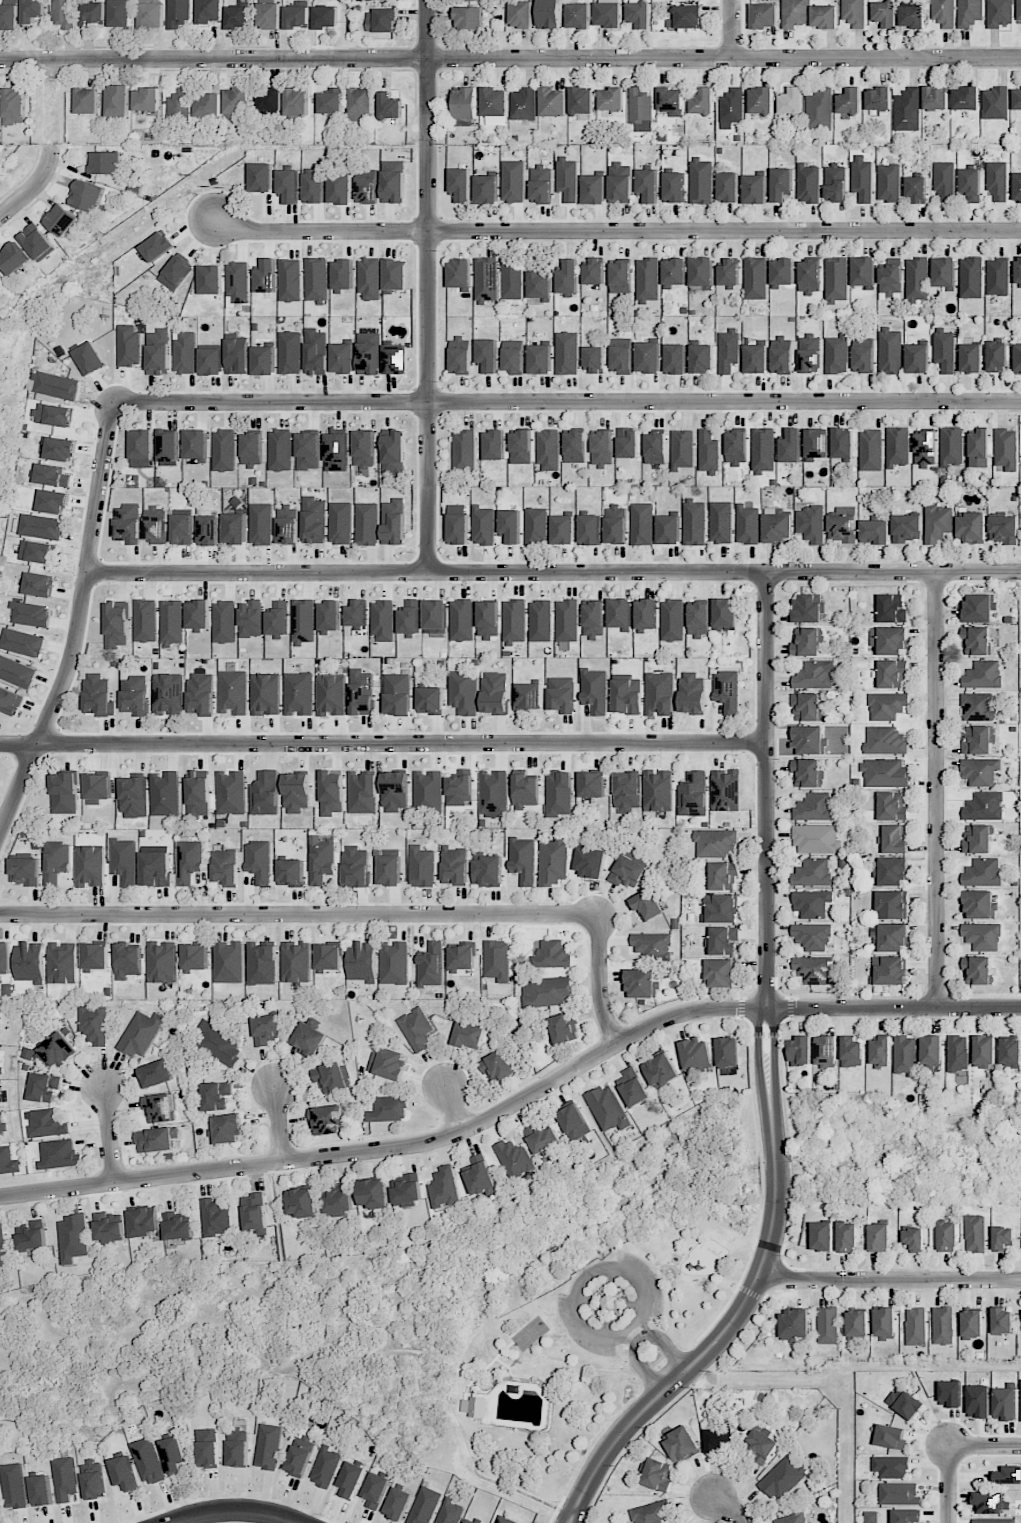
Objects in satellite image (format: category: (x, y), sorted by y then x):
building: (371, 0)
building: (909, 2)
building: (1018, 9)
building: (31, 10)
building: (209, 11)
building: (969, 12)
building: (92, 13)
building: (120, 13)
building: (178, 13)
building: (607, 13)
building: (794, 13)
building: (854, 13)
building: (884, 13)
building: (943, 13)
building: (999, 13)
building: (63, 14)
building: (151, 14)
building: (520, 14)
building: (549, 14)
building: (638, 14)
building: (238, 15)
building: (8, 16)
building: (269, 16)
building: (577, 16)
building: (688, 16)
building: (764, 16)
building: (296, 17)
building: (325, 17)
building: (824, 17)
building: (911, 17)
building: (469, 18)
building: (381, 20)
road: (733, 29)
road: (510, 57)
building: (935, 98)
building: (965, 98)
building: (146, 99)
building: (269, 99)
building: (611, 99)
building: (878, 99)
building: (1017, 99)
building: (760, 100)
building: (86, 101)
building: (117, 101)
building: (331, 101)
building: (361, 101)
building: (670, 101)
building: (702, 101)
building: (790, 101)
building: (848, 101)
building: (237, 102)
building: (296, 102)
building: (552, 102)
building: (580, 102)
building: (994, 103)
building: (178, 104)
building: (523, 104)
building: (207, 105)
building: (13, 106)
building: (389, 106)
building: (494, 106)
building: (465, 107)
building: (732, 107)
building: (640, 109)
building: (818, 109)
building: (907, 110)
building: (105, 163)
building: (261, 177)
building: (862, 178)
building: (567, 179)
building: (997, 180)
building: (513, 181)
building: (701, 181)
building: (944, 181)
building: (393, 182)
building: (835, 182)
building: (620, 183)
building: (808, 183)
building: (889, 183)
road: (32, 184)
building: (460, 184)
building: (781, 184)
building: (970, 184)
building: (541, 185)
building: (648, 185)
building: (288, 186)
building: (367, 186)
building: (674, 187)
building: (728, 187)
building: (1017, 187)
building: (314, 188)
building: (340, 189)
building: (486, 189)
building: (593, 189)
building: (754, 189)
building: (916, 189)
building: (87, 196)
building: (61, 220)
road: (617, 231)
building: (36, 242)
building: (157, 246)
building: (13, 258)
building: (1018, 270)
building: (702, 271)
building: (782, 271)
building: (863, 271)
building: (176, 272)
building: (594, 272)
building: (674, 272)
building: (944, 272)
building: (459, 273)
building: (729, 273)
building: (342, 274)
building: (395, 274)
building: (265, 276)
building: (0, 277)
building: (567, 277)
building: (621, 277)
building: (809, 277)
building: (891, 277)
building: (971, 277)
building: (998, 277)
building: (755, 278)
building: (210, 279)
building: (369, 279)
building: (647, 279)
building: (836, 279)
building: (917, 279)
building: (290, 280)
building: (316, 280)
building: (486, 280)
building: (511, 280)
building: (238, 282)
building: (540, 285)
road: (428, 286)
building: (128, 345)
building: (728, 350)
building: (944, 350)
building: (890, 351)
building: (158, 352)
building: (185, 352)
building: (290, 352)
building: (316, 352)
building: (369, 353)
building: (567, 353)
building: (809, 353)
building: (836, 354)
building: (863, 354)
building: (487, 355)
building: (621, 355)
building: (782, 355)
building: (237, 356)
building: (460, 356)
building: (513, 357)
building: (648, 357)
building: (997, 357)
building: (90, 358)
building: (343, 358)
building: (702, 358)
building: (971, 358)
building: (1018, 358)
building: (264, 359)
building: (395, 359)
building: (540, 359)
building: (594, 359)
building: (675, 359)
building: (755, 359)
building: (917, 359)
building: (211, 361)
building: (56, 385)
road: (567, 403)
building: (54, 415)
building: (627, 443)
building: (817, 443)
building: (843, 443)
building: (197, 444)
building: (493, 445)
building: (951, 445)
building: (169, 446)
building: (791, 446)
building: (520, 447)
building: (575, 447)
building: (655, 447)
building: (736, 447)
building: (898, 447)
building: (59, 448)
building: (141, 448)
building: (602, 448)
building: (925, 448)
building: (979, 448)
building: (252, 449)
building: (364, 449)
building: (682, 449)
building: (1006, 449)
building: (224, 450)
building: (280, 450)
building: (336, 450)
building: (464, 450)
building: (548, 450)
building: (763, 450)
building: (871, 450)
building: (308, 451)
building: (393, 451)
building: (708, 452)
building: (52, 476)
building: (53, 502)
building: (314, 520)
building: (394, 522)
building: (694, 522)
building: (721, 522)
building: (340, 523)
building: (937, 523)
building: (128, 524)
building: (261, 524)
building: (366, 524)
building: (458, 524)
building: (615, 524)
building: (642, 524)
building: (747, 524)
building: (810, 524)
building: (155, 525)
building: (288, 525)
building: (483, 525)
building: (842, 525)
building: (41, 526)
building: (510, 526)
building: (536, 526)
building: (777, 527)
building: (235, 528)
building: (906, 528)
building: (970, 528)
building: (562, 529)
building: (668, 529)
building: (1003, 529)
building: (209, 530)
building: (589, 530)
building: (874, 532)
building: (37, 552)
road: (555, 573)
building: (39, 584)
building: (891, 608)
building: (978, 608)
building: (807, 609)
building: (356, 613)
building: (31, 614)
building: (198, 614)
building: (620, 614)
building: (646, 614)
building: (725, 614)
building: (329, 615)
building: (436, 615)
building: (409, 617)
building: (278, 618)
building: (304, 618)
building: (251, 619)
building: (593, 619)
building: (145, 620)
building: (461, 620)
building: (488, 620)
building: (567, 620)
building: (672, 620)
building: (698, 620)
building: (383, 621)
building: (514, 621)
building: (540, 621)
building: (224, 622)
building: (171, 623)
road: (78, 624)
building: (116, 625)
building: (807, 640)
building: (888, 640)
building: (976, 641)
building: (22, 642)
building: (16, 672)
building: (892, 673)
building: (814, 674)
building: (983, 675)
building: (595, 690)
building: (727, 691)
building: (234, 692)
building: (361, 692)
building: (463, 692)
building: (495, 693)
building: (692, 693)
building: (167, 694)
building: (201, 694)
building: (266, 694)
building: (299, 694)
building: (397, 694)
building: (561, 694)
building: (626, 694)
building: (331, 695)
building: (98, 696)
building: (135, 696)
building: (528, 696)
building: (430, 700)
building: (10, 701)
building: (806, 706)
building: (886, 706)
building: (978, 706)
building: (808, 739)
building: (884, 740)
building: (977, 740)
road: (383, 744)
building: (980, 771)
building: (808, 773)
building: (884, 773)
building: (592, 785)
building: (459, 787)
building: (97, 788)
building: (525, 789)
building: (428, 790)
building: (726, 790)
building: (395, 791)
building: (658, 791)
road: (937, 791)
building: (627, 792)
building: (64, 793)
building: (165, 793)
building: (198, 793)
building: (231, 793)
building: (296, 793)
building: (331, 793)
building: (362, 793)
building: (493, 793)
building: (559, 793)
building: (265, 794)
building: (693, 794)
building: (133, 797)
building: (984, 806)
building: (814, 807)
building: (891, 807)
building: (816, 839)
building: (894, 839)
building: (977, 839)
building: (715, 843)
building: (321, 858)
building: (259, 860)
building: (523, 860)
building: (56, 861)
building: (124, 861)
building: (189, 861)
building: (553, 861)
building: (590, 862)
building: (90, 866)
building: (454, 866)
building: (226, 867)
building: (355, 867)
building: (388, 867)
building: (421, 867)
building: (155, 869)
building: (628, 870)
building: (26, 871)
building: (487, 871)
building: (891, 871)
building: (813, 872)
building: (983, 872)
building: (291, 873)
building: (723, 876)
building: (812, 903)
building: (892, 904)
building: (978, 904)
building: (647, 905)
building: (721, 909)
road: (299, 915)
building: (812, 936)
building: (982, 936)
building: (889, 937)
building: (722, 941)
building: (652, 944)
building: (552, 955)
building: (96, 956)
building: (462, 956)
building: (5, 957)
building: (195, 957)
building: (329, 957)
building: (497, 960)
building: (128, 961)
building: (296, 961)
building: (362, 961)
building: (30, 962)
building: (162, 962)
building: (229, 962)
building: (63, 963)
building: (394, 963)
building: (262, 964)
building: (431, 965)
building: (814, 970)
building: (889, 970)
building: (978, 970)
building: (720, 973)
road: (599, 981)
building: (640, 983)
building: (547, 992)
building: (94, 1024)
building: (417, 1028)
building: (268, 1029)
building: (563, 1029)
building: (141, 1034)
building: (469, 1035)
building: (308, 1039)
building: (218, 1043)
building: (53, 1050)
building: (825, 1050)
building: (931, 1050)
building: (800, 1051)
building: (983, 1051)
building: (727, 1052)
building: (851, 1052)
building: (880, 1052)
building: (1010, 1052)
building: (695, 1053)
building: (958, 1053)
building: (905, 1054)
building: (0, 1059)
building: (388, 1063)
building: (498, 1067)
building: (660, 1070)
building: (156, 1073)
road: (768, 1084)
building: (44, 1087)
building: (633, 1087)
building: (215, 1095)
road: (516, 1104)
building: (161, 1108)
building: (608, 1108)
building: (389, 1109)
road: (455, 1110)
building: (327, 1119)
building: (574, 1122)
building: (47, 1123)
building: (2, 1126)
road: (279, 1126)
building: (227, 1129)
road: (110, 1135)
building: (157, 1139)
building: (542, 1139)
building: (60, 1154)
building: (515, 1159)
building: (8, 1161)
building: (480, 1176)
building: (444, 1188)
building: (407, 1190)
building: (374, 1193)
building: (302, 1202)
building: (339, 1203)
building: (255, 1214)
building: (216, 1217)
building: (144, 1222)
building: (110, 1227)
building: (177, 1227)
building: (975, 1233)
building: (33, 1236)
building: (822, 1236)
building: (947, 1236)
building: (846, 1237)
building: (879, 1237)
building: (74, 1238)
building: (1002, 1238)
building: (914, 1239)
building: (3, 1248)
road: (637, 1279)
road: (891, 1282)
building: (609, 1302)
building: (1002, 1321)
building: (857, 1323)
building: (884, 1323)
building: (972, 1324)
building: (794, 1325)
building: (943, 1325)
building: (828, 1326)
building: (916, 1326)
park: (530, 1333)
road: (636, 1334)
road: (638, 1339)
park: (563, 1352)
building: (950, 1393)
building: (1020, 1399)
building: (978, 1401)
building: (905, 1403)
building: (1005, 1404)
building: (478, 1407)
building: (891, 1437)
building: (719, 1439)
building: (681, 1445)
building: (268, 1446)
building: (760, 1446)
building: (238, 1447)
building: (207, 1448)
road: (985, 1448)
building: (173, 1454)
building: (299, 1455)
building: (148, 1461)
building: (325, 1466)
building: (890, 1467)
building: (124, 1473)
building: (654, 1474)
building: (1008, 1475)
building: (783, 1478)
building: (66, 1479)
building: (93, 1479)
building: (351, 1479)
building: (14, 1485)
road: (950, 1486)
building: (375, 1490)
building: (899, 1493)
building: (990, 1503)
building: (397, 1504)
building: (424, 1506)
road: (231, 1509)
road: (728, 1509)
building: (450, 1512)
building: (651, 1513)
building: (907, 1516)
building: (871, 1517)
building: (793, 1518)
building: (504, 1520)
building: (994, 1520)

